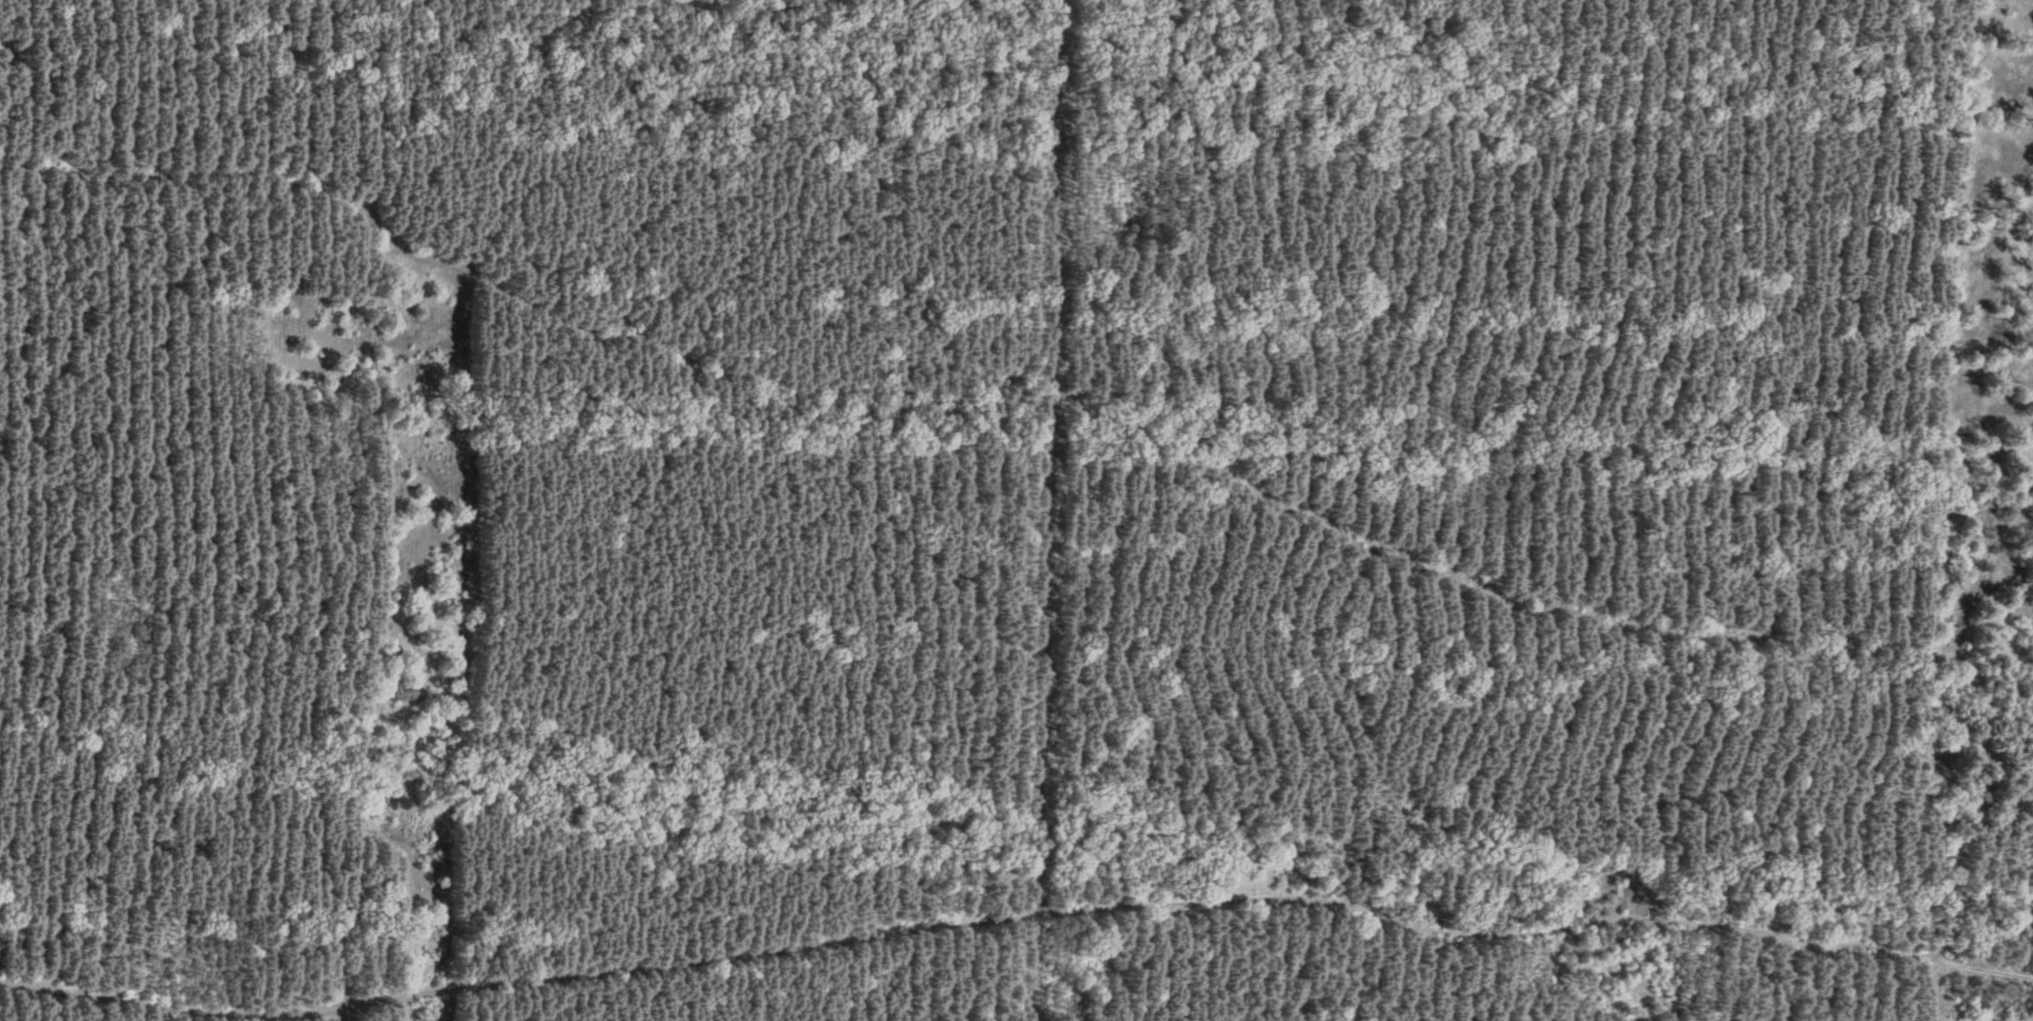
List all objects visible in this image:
road: (371, 112)
road: (360, 438)
road: (1201, 461)
road: (1191, 906)
road: (173, 996)

